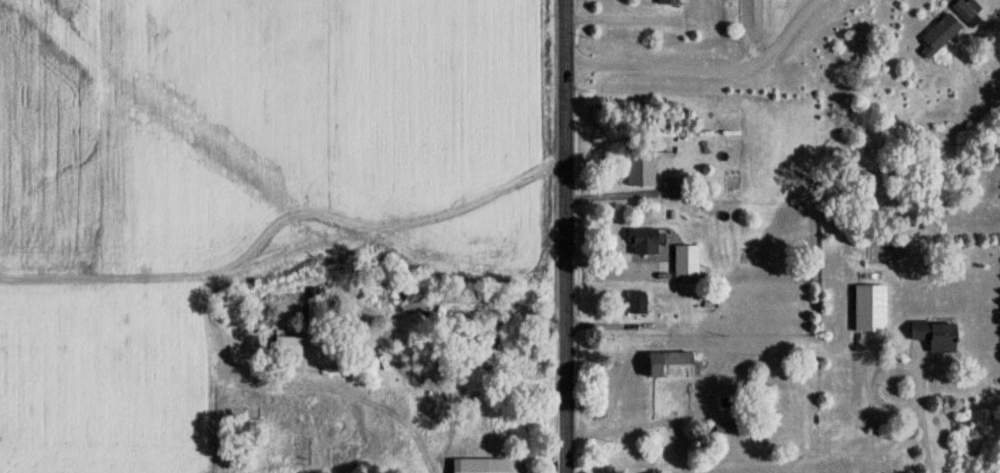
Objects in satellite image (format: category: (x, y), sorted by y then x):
building: (669, 2)
building: (967, 9)
building: (941, 35)
road: (705, 71)
building: (642, 168)
road: (568, 236)
building: (644, 238)
building: (639, 300)
building: (872, 308)
building: (938, 335)
building: (672, 365)
road: (923, 425)
building: (739, 428)
building: (483, 465)

